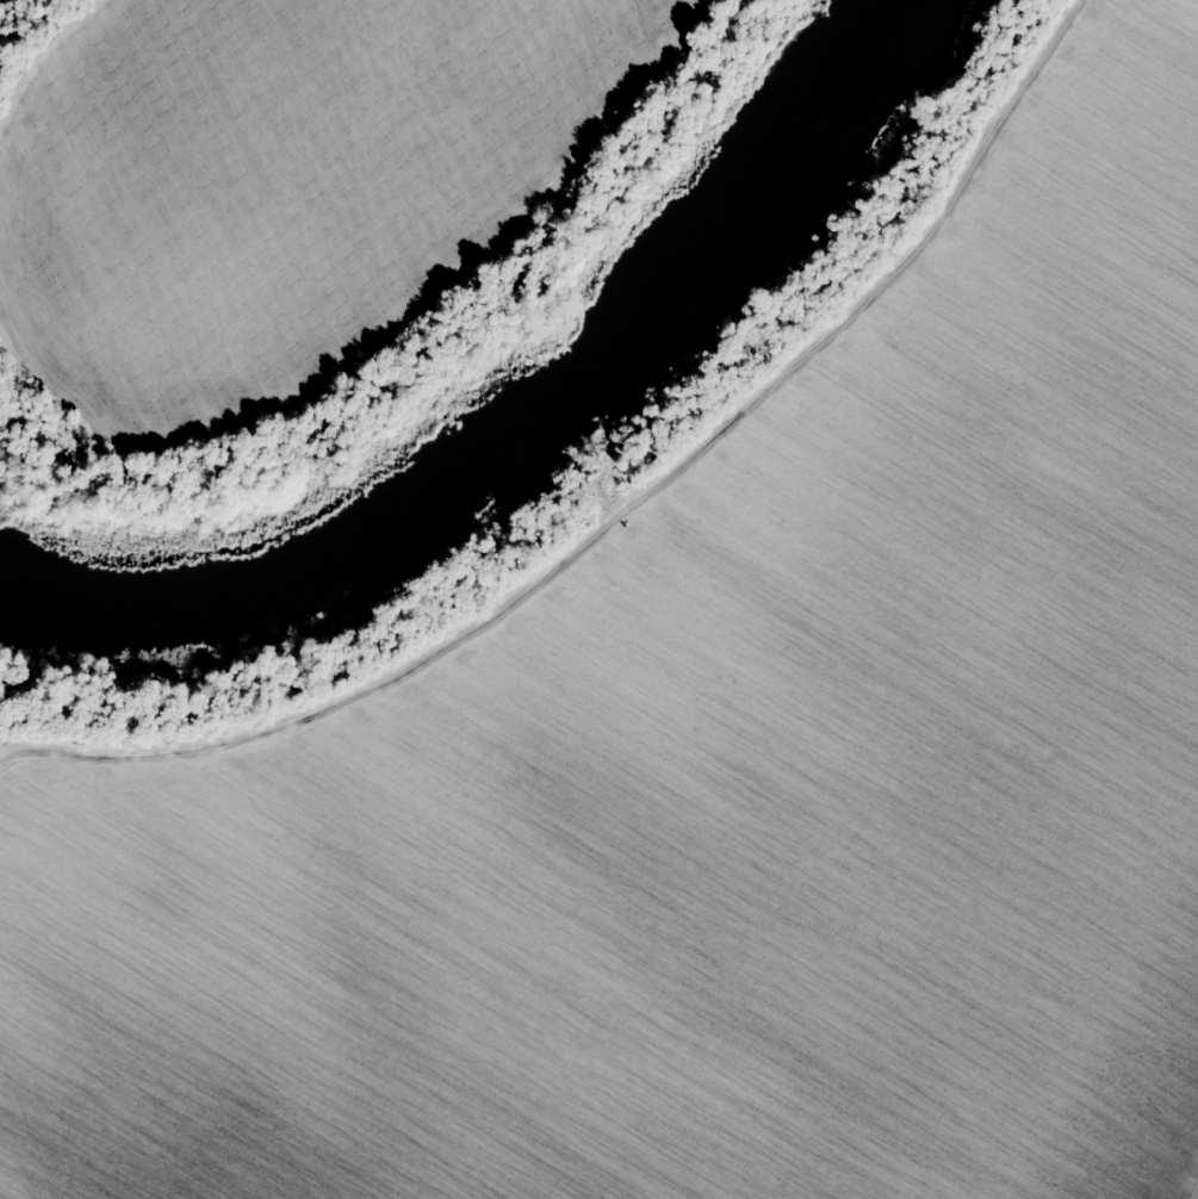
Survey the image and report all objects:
road: (1055, 31)
river: (517, 420)

